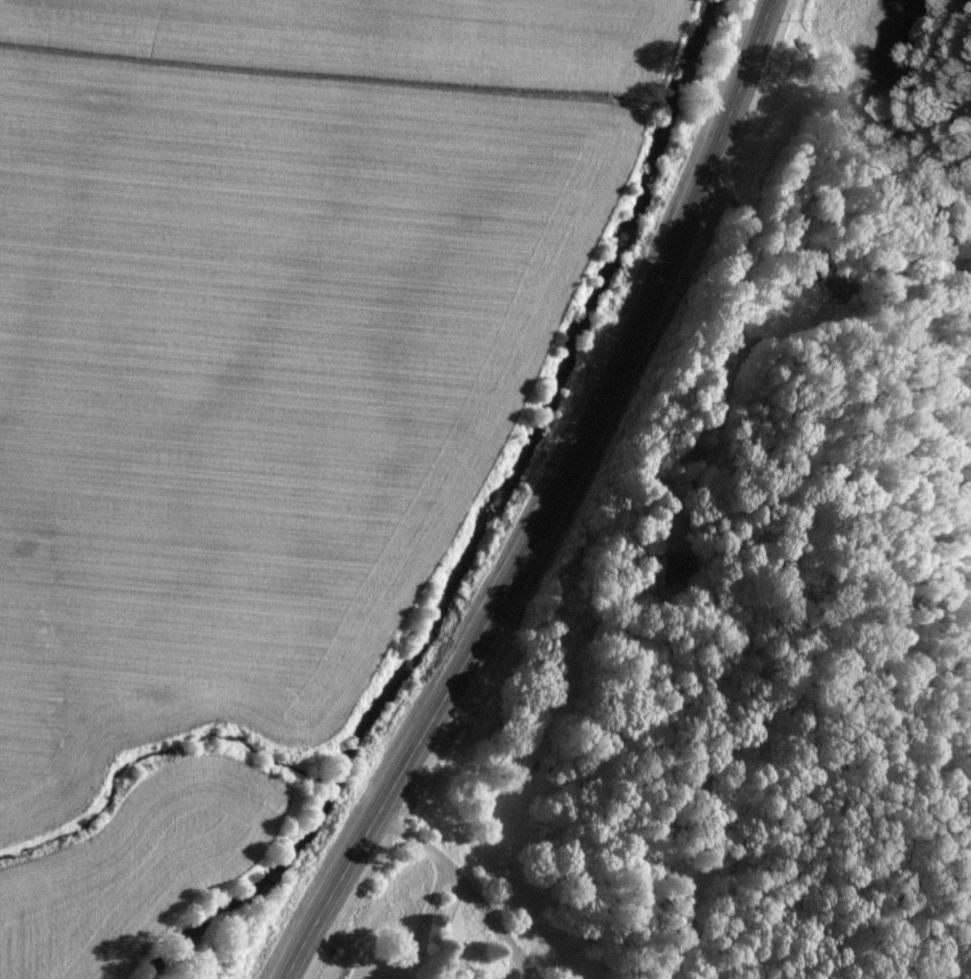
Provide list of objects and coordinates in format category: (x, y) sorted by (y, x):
road: (839, 273)
road: (929, 419)
road: (550, 500)
building: (675, 567)
road: (465, 888)

